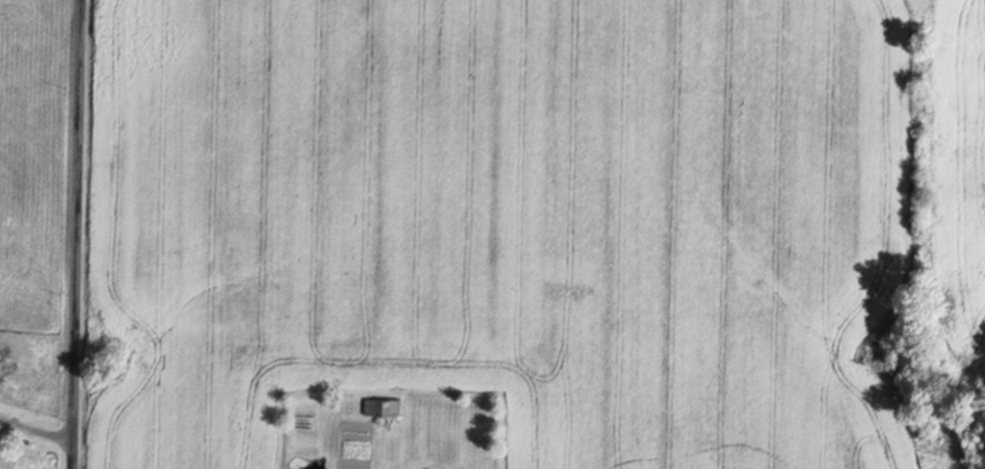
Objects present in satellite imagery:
road: (77, 234)
building: (386, 407)
building: (477, 420)
road: (36, 431)

